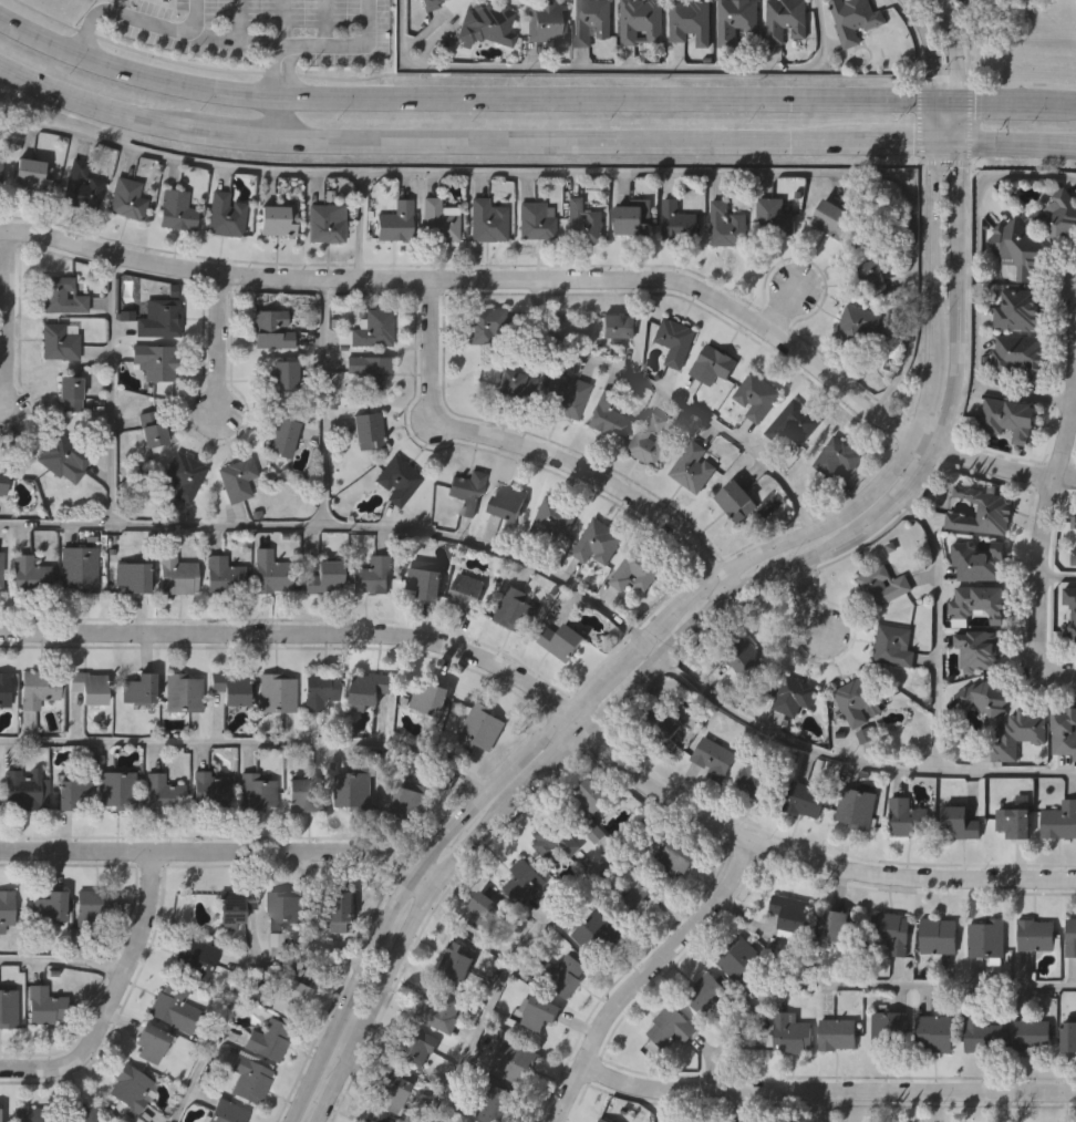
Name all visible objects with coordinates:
building: (430, 4)
road: (194, 17)
building: (736, 19)
building: (786, 19)
building: (853, 19)
building: (591, 20)
building: (641, 20)
building: (547, 21)
building: (689, 21)
road: (279, 22)
building: (485, 24)
road: (163, 27)
road: (342, 45)
road: (931, 50)
road: (952, 50)
road: (276, 71)
road: (612, 71)
road: (132, 72)
road: (91, 99)
road: (603, 99)
traffic signals: (934, 105)
road: (944, 105)
traffic signals: (955, 105)
road: (996, 106)
road: (1057, 107)
road: (270, 116)
road: (934, 124)
road: (956, 124)
road: (227, 133)
road: (561, 141)
road: (945, 143)
traffic signals: (958, 143)
road: (894, 144)
traffic signals: (934, 144)
road: (1016, 144)
building: (0, 169)
road: (576, 174)
building: (31, 175)
building: (80, 186)
building: (126, 198)
building: (176, 209)
building: (225, 215)
building: (1058, 215)
building: (633, 217)
building: (773, 217)
building: (830, 218)
building: (273, 220)
building: (396, 220)
building: (486, 220)
building: (535, 220)
building: (439, 222)
building: (582, 222)
building: (325, 223)
building: (679, 223)
building: (730, 224)
road: (360, 225)
building: (1017, 248)
road: (479, 278)
building: (875, 278)
road: (979, 285)
building: (61, 294)
road: (780, 309)
building: (1018, 310)
building: (158, 316)
road: (7, 321)
building: (486, 322)
building: (861, 326)
building: (374, 327)
building: (272, 329)
building: (614, 329)
building: (60, 339)
building: (676, 341)
road: (219, 342)
building: (1018, 356)
building: (156, 359)
building: (714, 364)
building: (370, 368)
building: (282, 375)
building: (515, 378)
road: (112, 389)
building: (565, 393)
building: (69, 394)
building: (757, 395)
road: (665, 397)
road: (323, 402)
building: (606, 415)
building: (1010, 419)
building: (794, 424)
building: (152, 426)
building: (368, 429)
building: (282, 435)
building: (650, 440)
road: (538, 451)
building: (61, 452)
building: (837, 459)
road: (993, 463)
building: (692, 465)
building: (7, 473)
building: (184, 475)
building: (399, 477)
building: (237, 478)
building: (466, 490)
building: (736, 500)
building: (508, 502)
building: (982, 511)
building: (553, 515)
building: (1073, 519)
road: (1043, 527)
road: (333, 528)
building: (597, 541)
building: (1073, 555)
building: (979, 559)
building: (79, 566)
building: (0, 570)
building: (637, 570)
building: (28, 572)
building: (270, 572)
building: (133, 574)
building: (175, 574)
building: (223, 574)
building: (373, 575)
building: (324, 576)
road: (1057, 577)
building: (424, 581)
building: (884, 587)
building: (466, 590)
road: (813, 598)
building: (977, 601)
building: (519, 610)
building: (1075, 617)
road: (654, 625)
road: (685, 629)
road: (939, 630)
building: (560, 640)
building: (894, 645)
building: (977, 648)
building: (747, 657)
road: (1059, 672)
building: (7, 687)
building: (40, 687)
building: (89, 687)
building: (371, 687)
building: (230, 688)
building: (139, 689)
building: (278, 691)
building: (321, 691)
building: (183, 692)
building: (795, 696)
building: (986, 696)
building: (431, 699)
building: (858, 699)
road: (553, 704)
building: (479, 727)
building: (663, 728)
building: (1065, 731)
building: (1020, 734)
road: (250, 743)
building: (714, 759)
road: (839, 761)
building: (758, 779)
building: (355, 785)
building: (23, 788)
building: (118, 788)
building: (210, 790)
building: (163, 792)
building: (256, 792)
building: (71, 793)
building: (306, 795)
building: (804, 799)
building: (411, 800)
building: (588, 806)
building: (856, 806)
building: (908, 816)
building: (1016, 819)
building: (1061, 820)
building: (960, 822)
building: (553, 840)
road: (220, 852)
building: (673, 857)
building: (525, 881)
building: (633, 902)
building: (48, 905)
building: (90, 905)
building: (234, 905)
building: (344, 906)
building: (4, 907)
building: (286, 908)
building: (787, 910)
building: (482, 913)
building: (836, 927)
building: (892, 929)
building: (598, 931)
building: (940, 934)
building: (1037, 935)
building: (1070, 936)
building: (989, 939)
road: (526, 943)
building: (739, 958)
building: (196, 959)
building: (453, 959)
road: (61, 961)
building: (563, 974)
road: (641, 976)
road: (865, 985)
road: (238, 991)
building: (704, 991)
road: (111, 995)
building: (289, 996)
building: (42, 1006)
building: (8, 1007)
building: (174, 1008)
building: (441, 1011)
building: (541, 1011)
building: (668, 1028)
building: (889, 1030)
building: (789, 1033)
building: (934, 1033)
building: (838, 1034)
building: (1030, 1034)
building: (981, 1036)
building: (1068, 1037)
building: (269, 1040)
building: (153, 1042)
building: (416, 1044)
building: (514, 1063)
building: (248, 1080)
building: (131, 1084)
building: (392, 1090)
road: (826, 1090)
building: (497, 1102)
building: (79, 1112)
building: (31, 1113)
building: (226, 1113)
building: (375, 1119)

